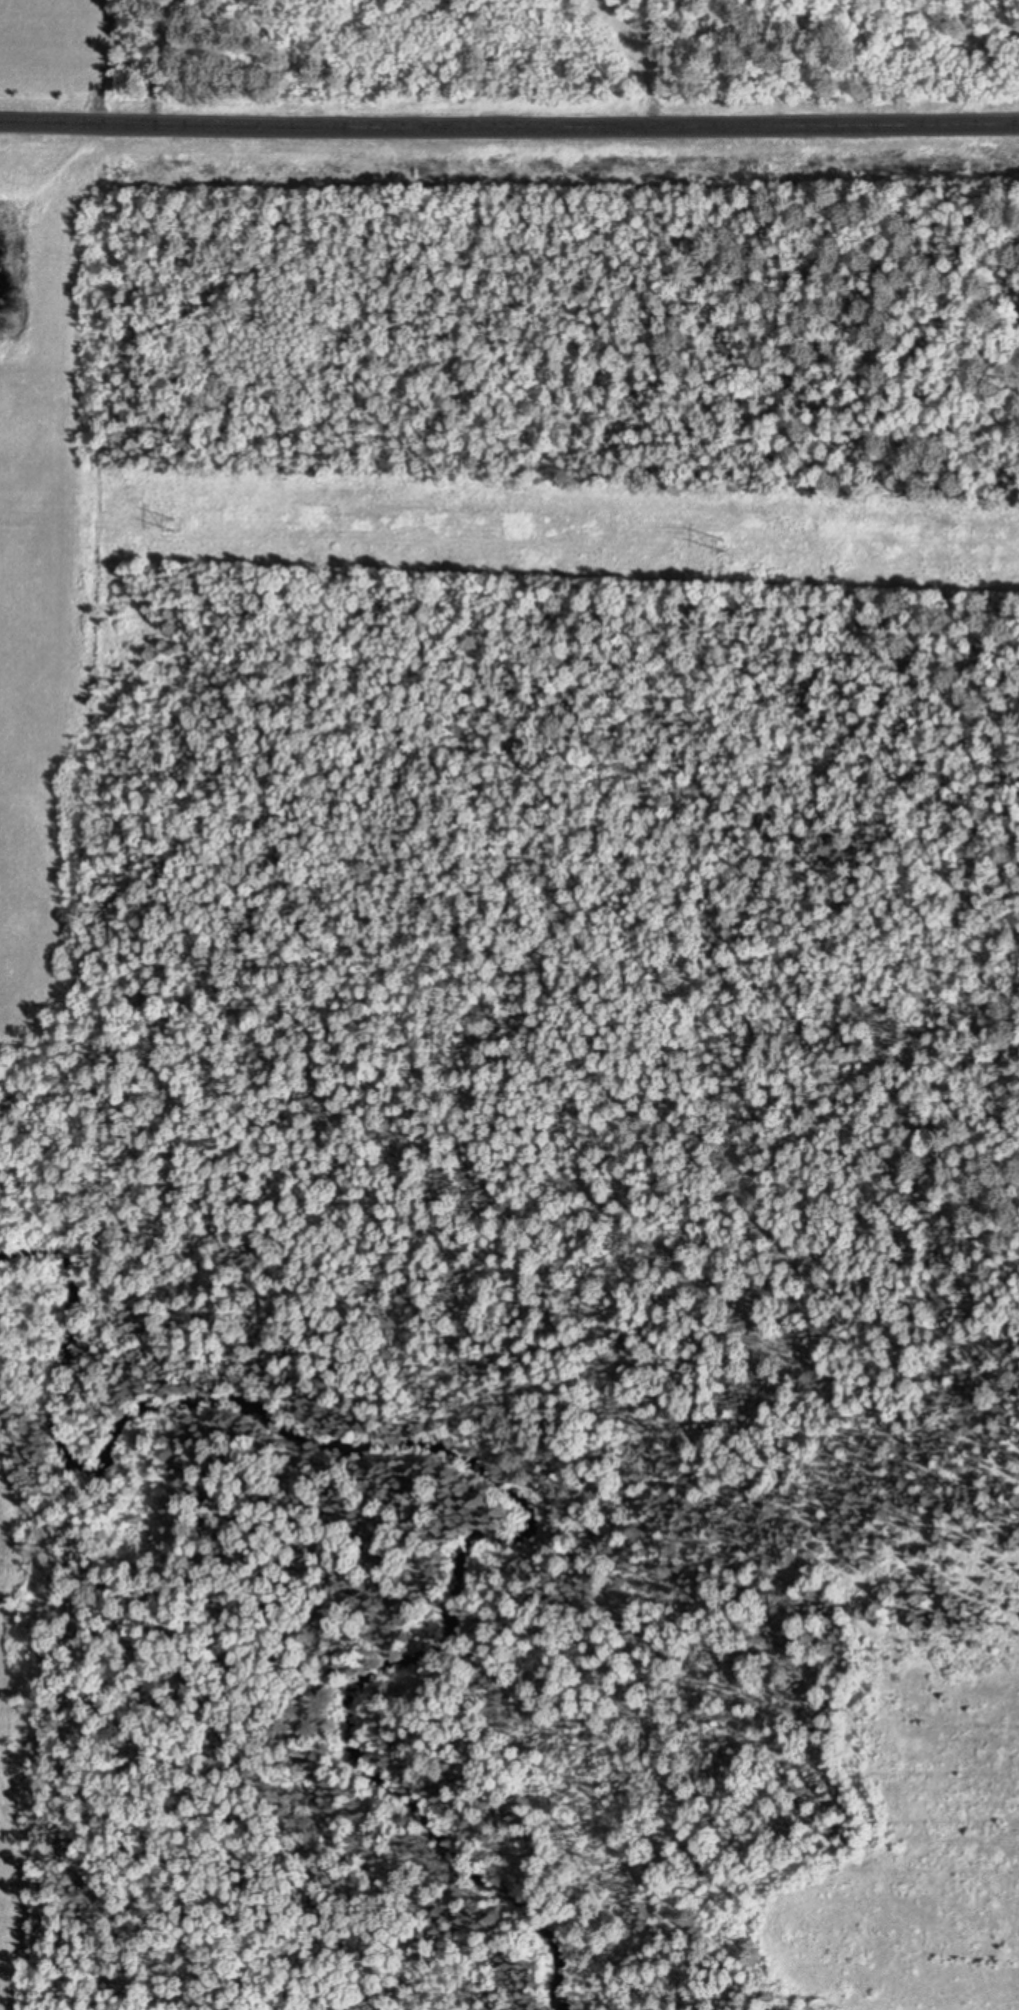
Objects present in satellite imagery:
road: (509, 126)
power tower: (166, 526)
power tower: (733, 546)
river: (509, 1466)

